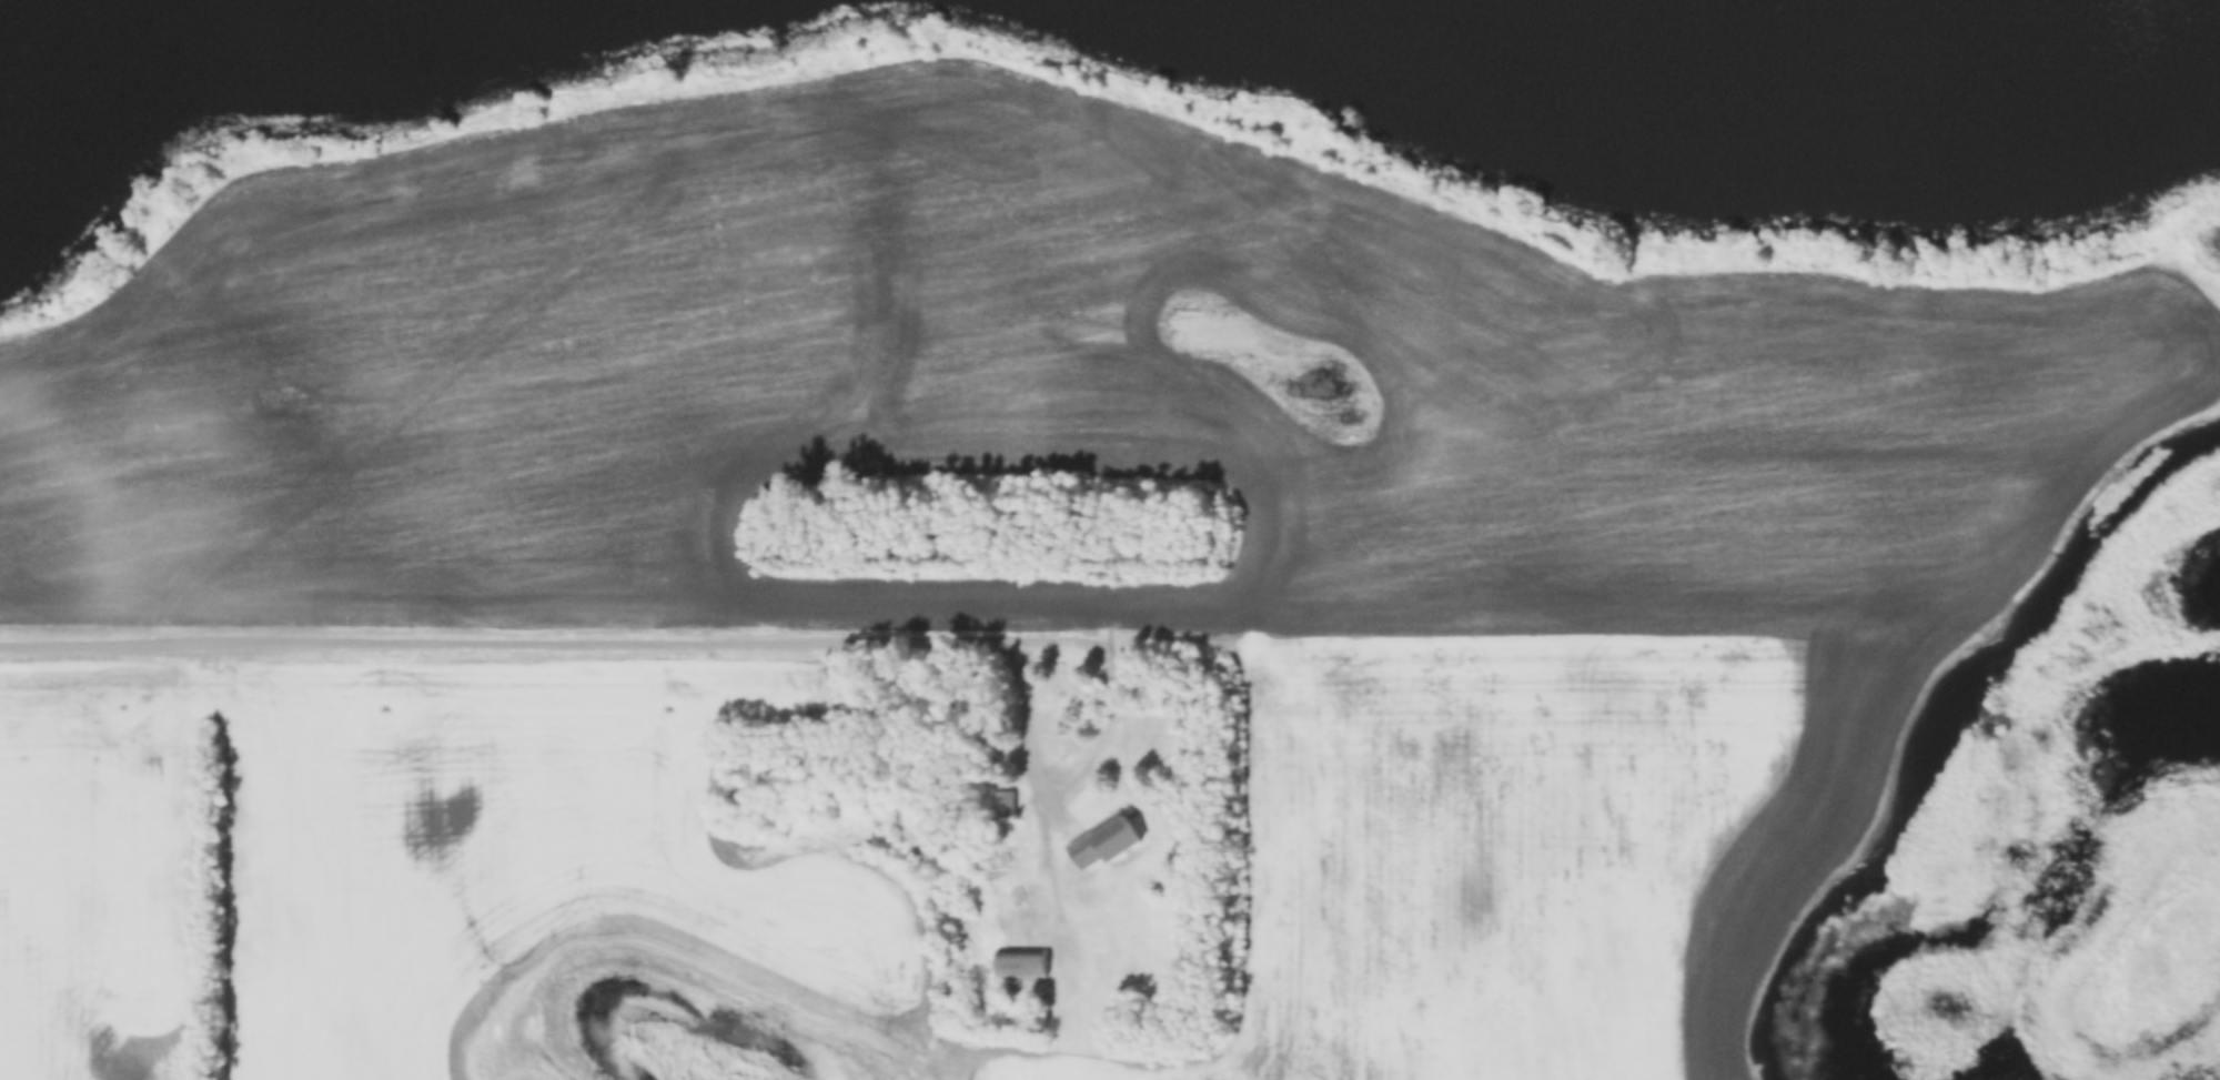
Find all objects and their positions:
road: (553, 643)
road: (1530, 643)
road: (1056, 786)
building: (1003, 795)
building: (1104, 835)
building: (1020, 953)
building: (1041, 979)
silo: (1041, 979)
building: (1041, 996)
silo: (1041, 996)
building: (1041, 1012)
silo: (1041, 1012)

